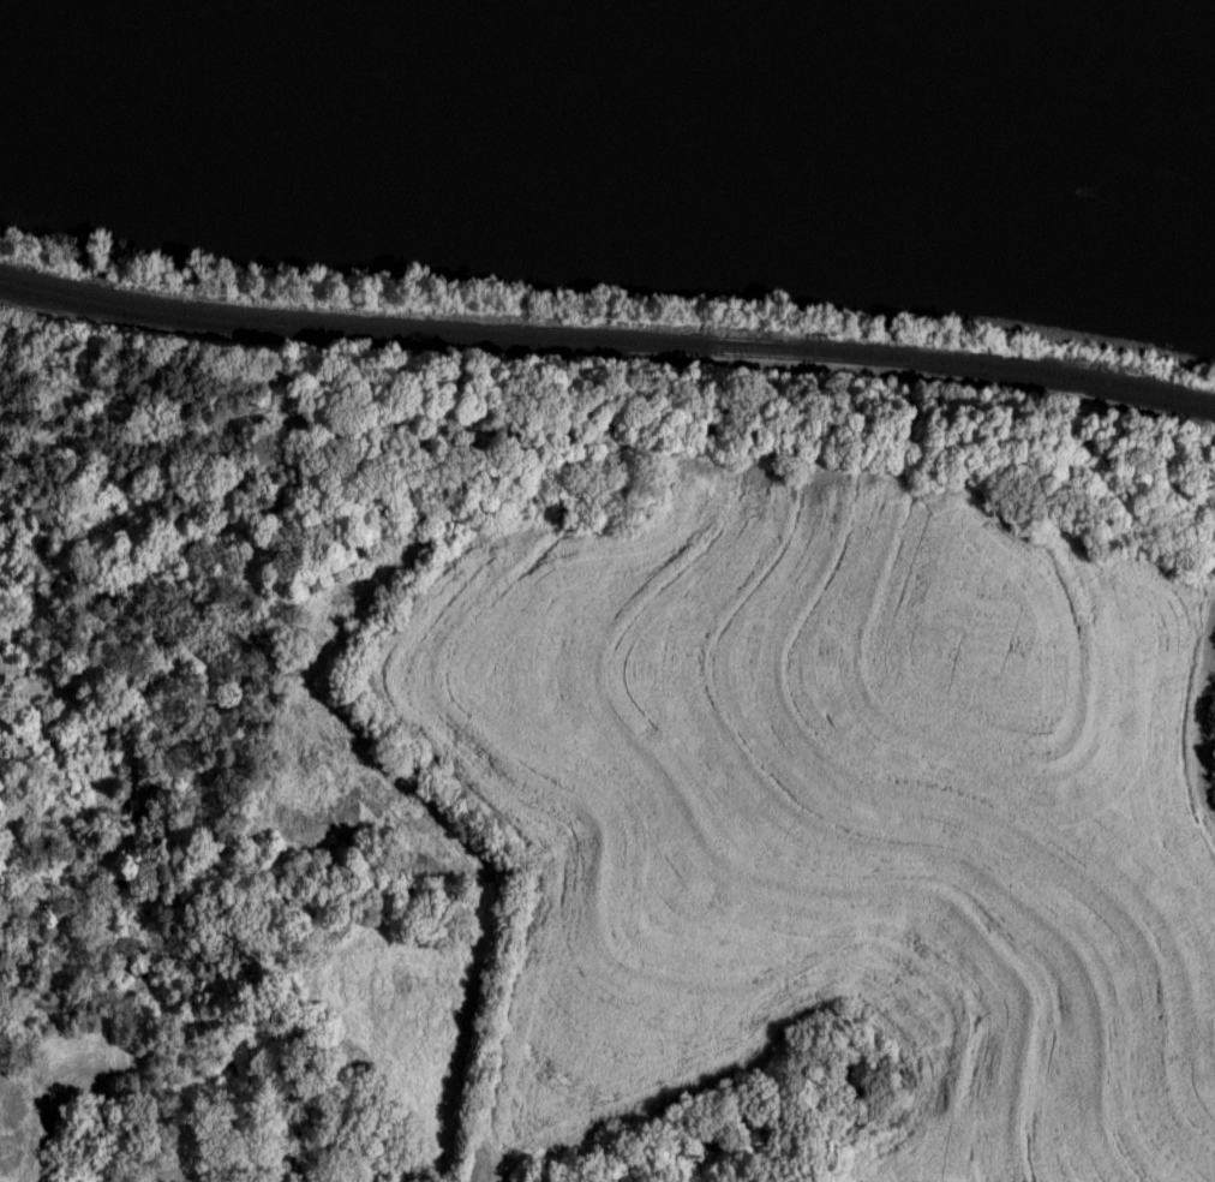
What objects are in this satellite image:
railway: (607, 340)
railway: (607, 359)

